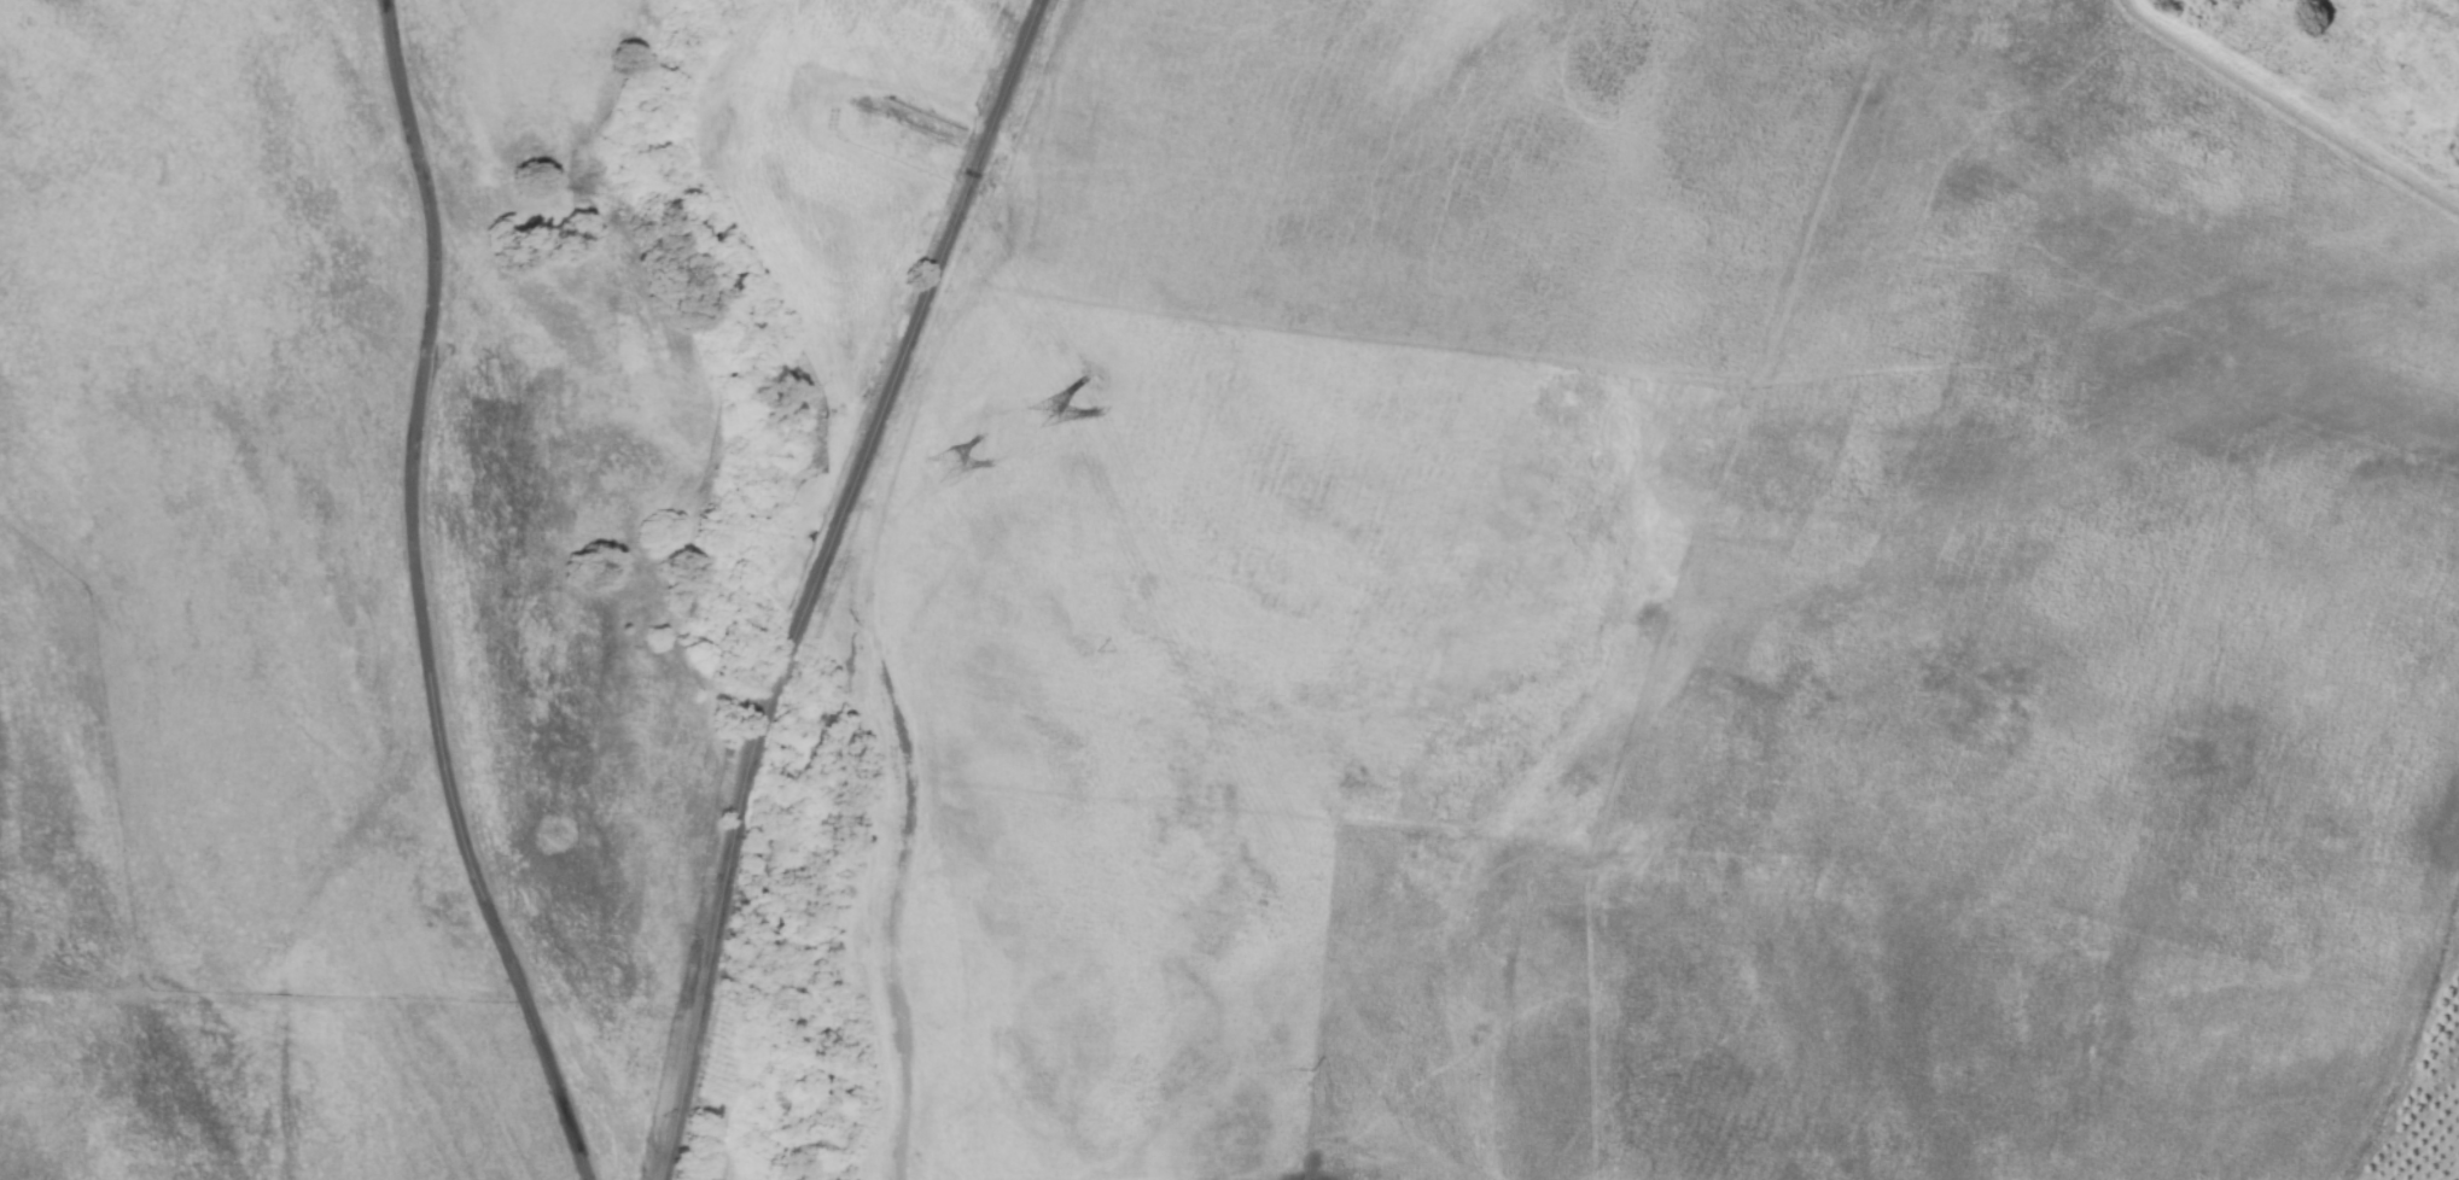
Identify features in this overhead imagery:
building: (898, 122)
power tower: (1043, 414)
power tower: (942, 466)
road: (815, 578)
road: (424, 600)

